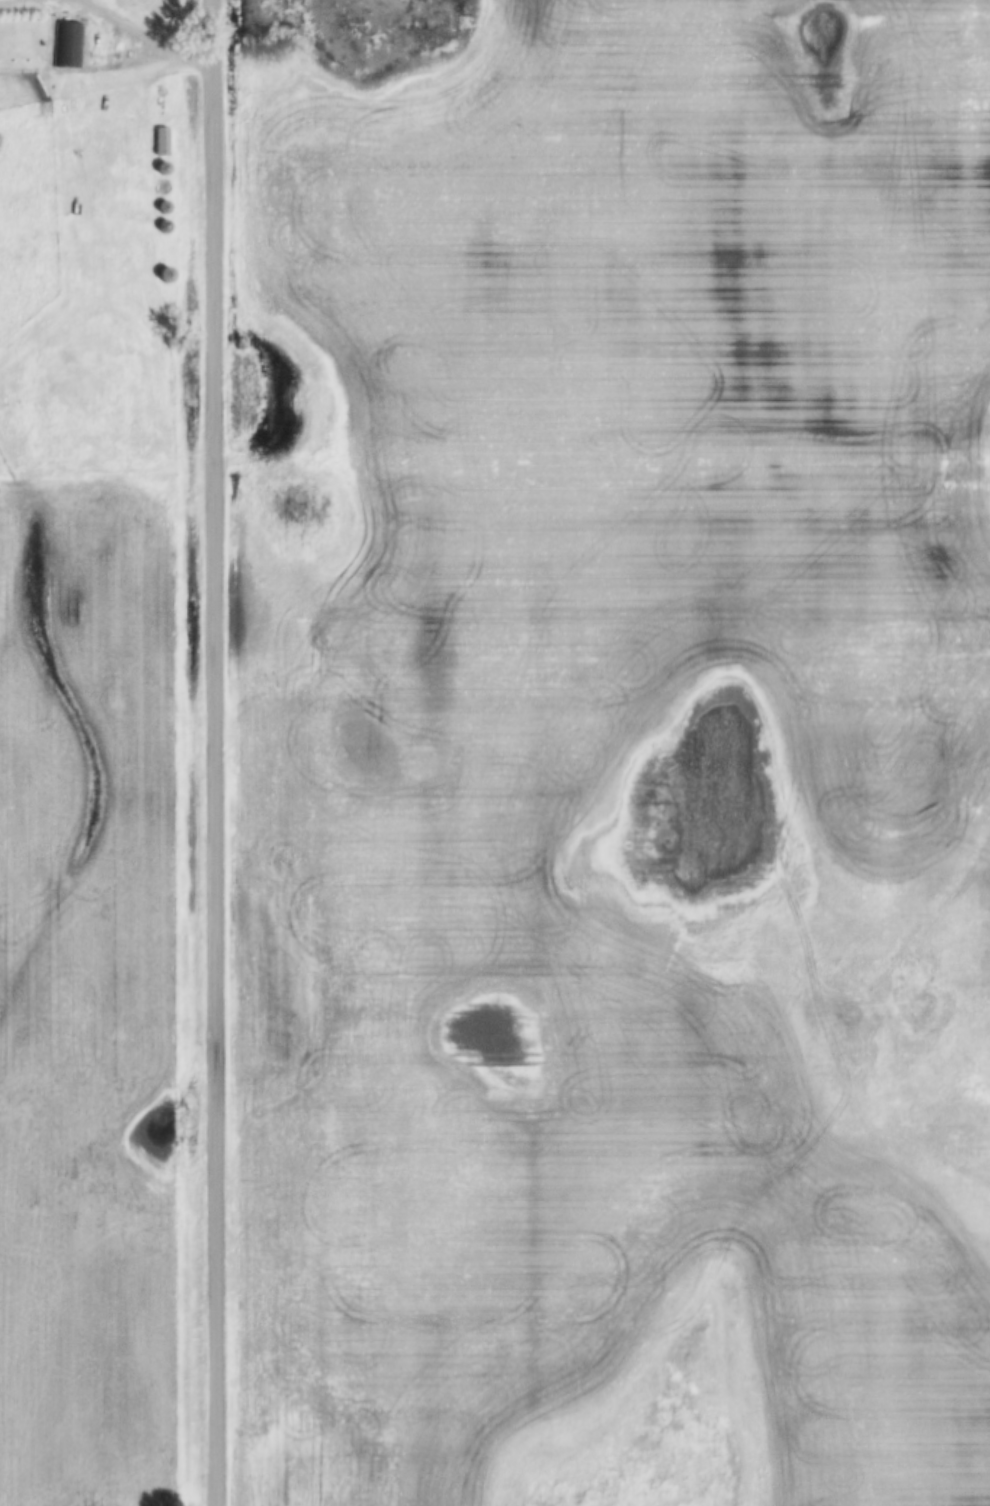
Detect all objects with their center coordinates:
road: (143, 37)
building: (66, 47)
building: (159, 143)
building: (159, 188)
building: (163, 276)
road: (213, 752)

